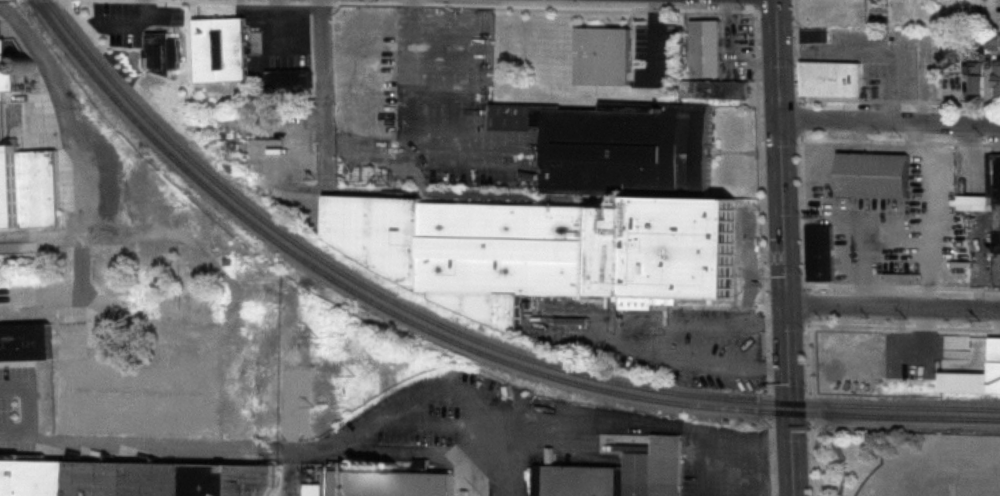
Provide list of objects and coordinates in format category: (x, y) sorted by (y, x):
building: (815, 35)
building: (980, 38)
building: (709, 47)
building: (221, 49)
building: (159, 50)
building: (606, 55)
road: (320, 71)
building: (998, 75)
building: (832, 77)
building: (290, 78)
building: (977, 81)
building: (716, 88)
road: (441, 93)
road: (889, 123)
road: (72, 139)
road: (420, 146)
building: (23, 171)
building: (876, 174)
road: (782, 206)
building: (987, 209)
building: (568, 217)
building: (821, 252)
road: (893, 310)
railway: (466, 334)
road: (609, 334)
building: (27, 340)
railway: (456, 343)
building: (996, 366)
building: (895, 382)
road: (26, 404)
road: (692, 433)
road: (350, 438)
road: (716, 438)
road: (504, 450)
road: (427, 453)
road: (789, 454)
building: (617, 474)
building: (130, 478)
building: (382, 483)

